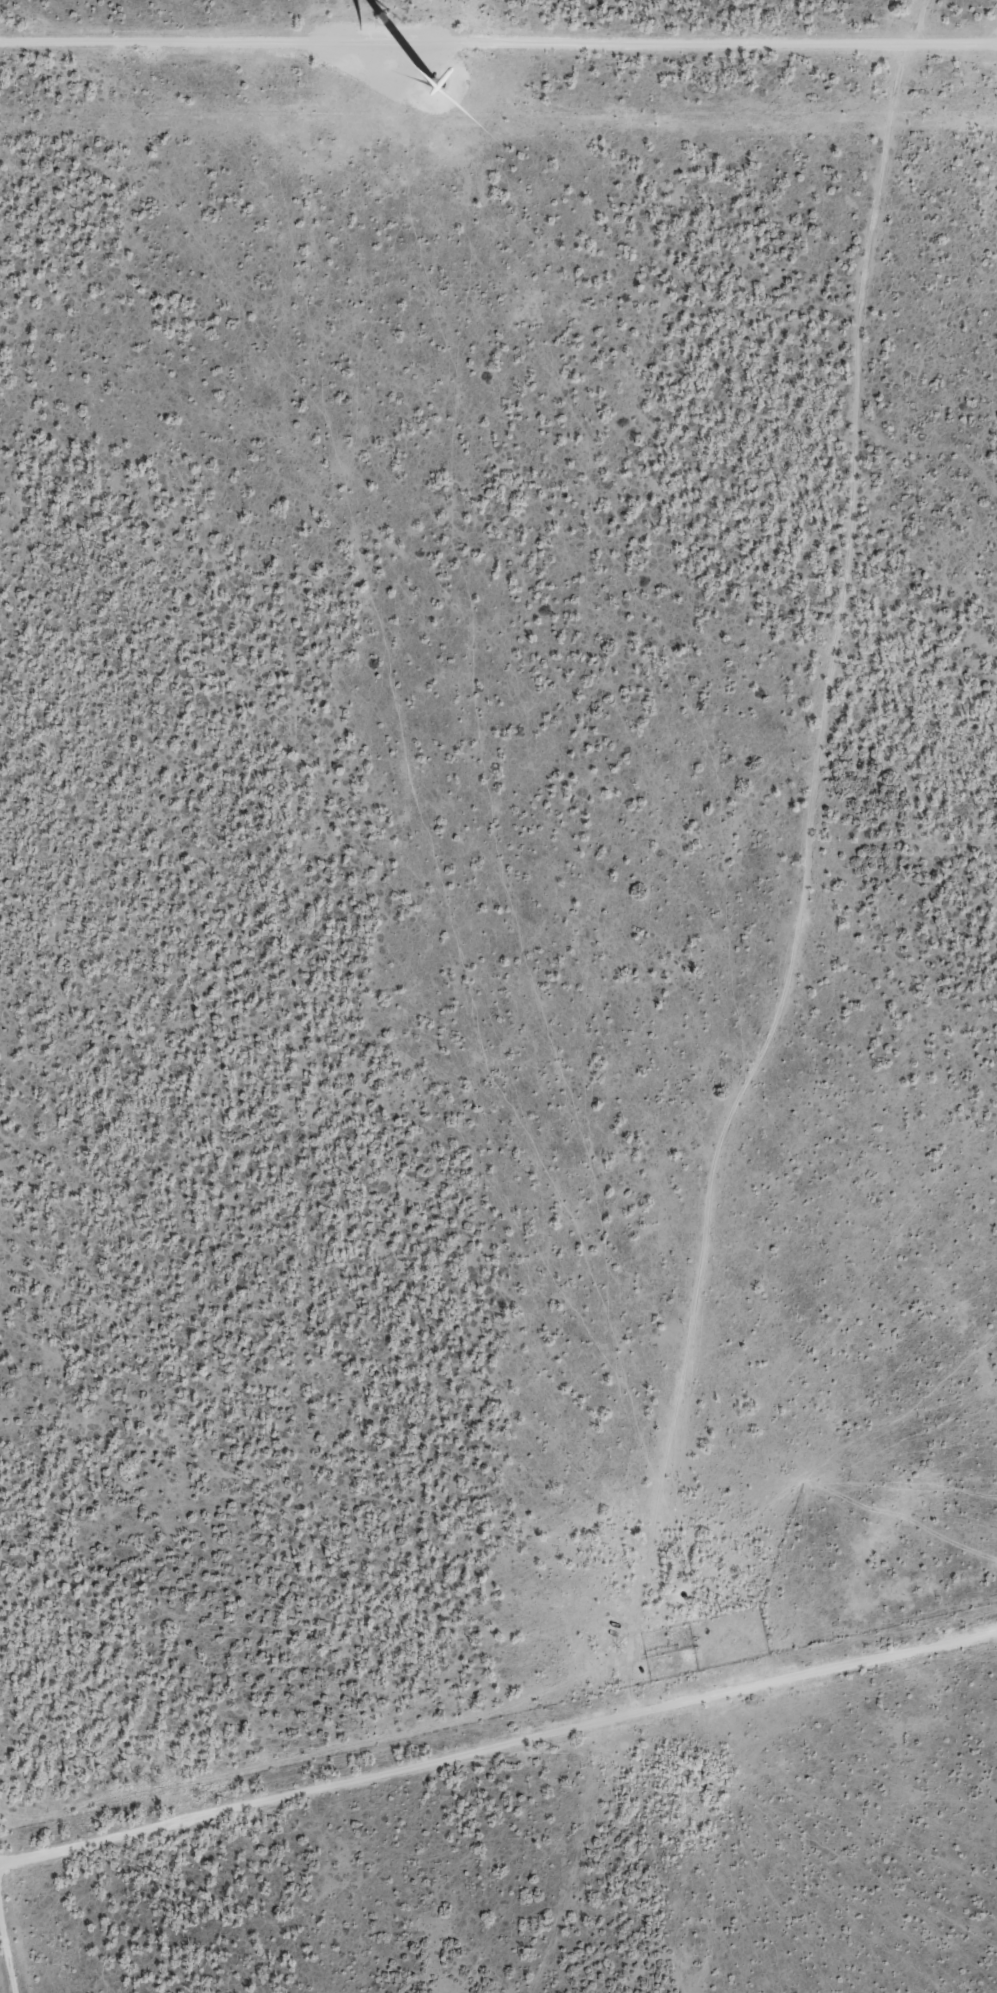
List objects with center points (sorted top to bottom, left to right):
wind turbine: (419, 76)
road: (735, 996)
road: (801, 1694)

